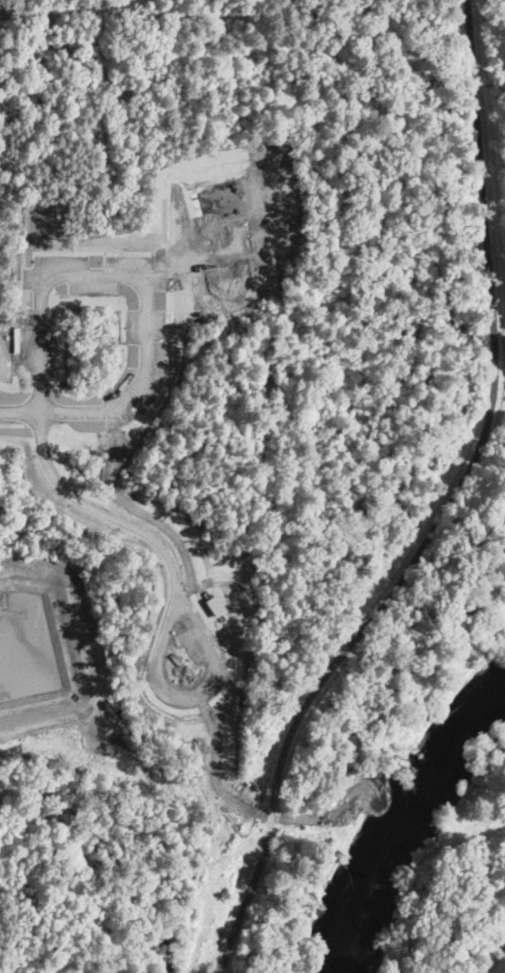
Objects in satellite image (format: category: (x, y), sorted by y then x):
road: (193, 213)
road: (170, 215)
road: (219, 234)
road: (104, 252)
road: (211, 252)
road: (111, 272)
parking lot: (99, 273)
parking lot: (151, 328)
road: (168, 388)
parking lot: (134, 394)
road: (21, 407)
road: (73, 407)
park: (257, 413)
road: (16, 423)
road: (42, 423)
road: (101, 510)
road: (446, 511)
road: (150, 512)
building: (215, 601)
road: (234, 613)
parking lot: (195, 646)
road: (217, 665)
road: (226, 688)
road: (220, 765)
road: (335, 785)
river: (408, 824)

